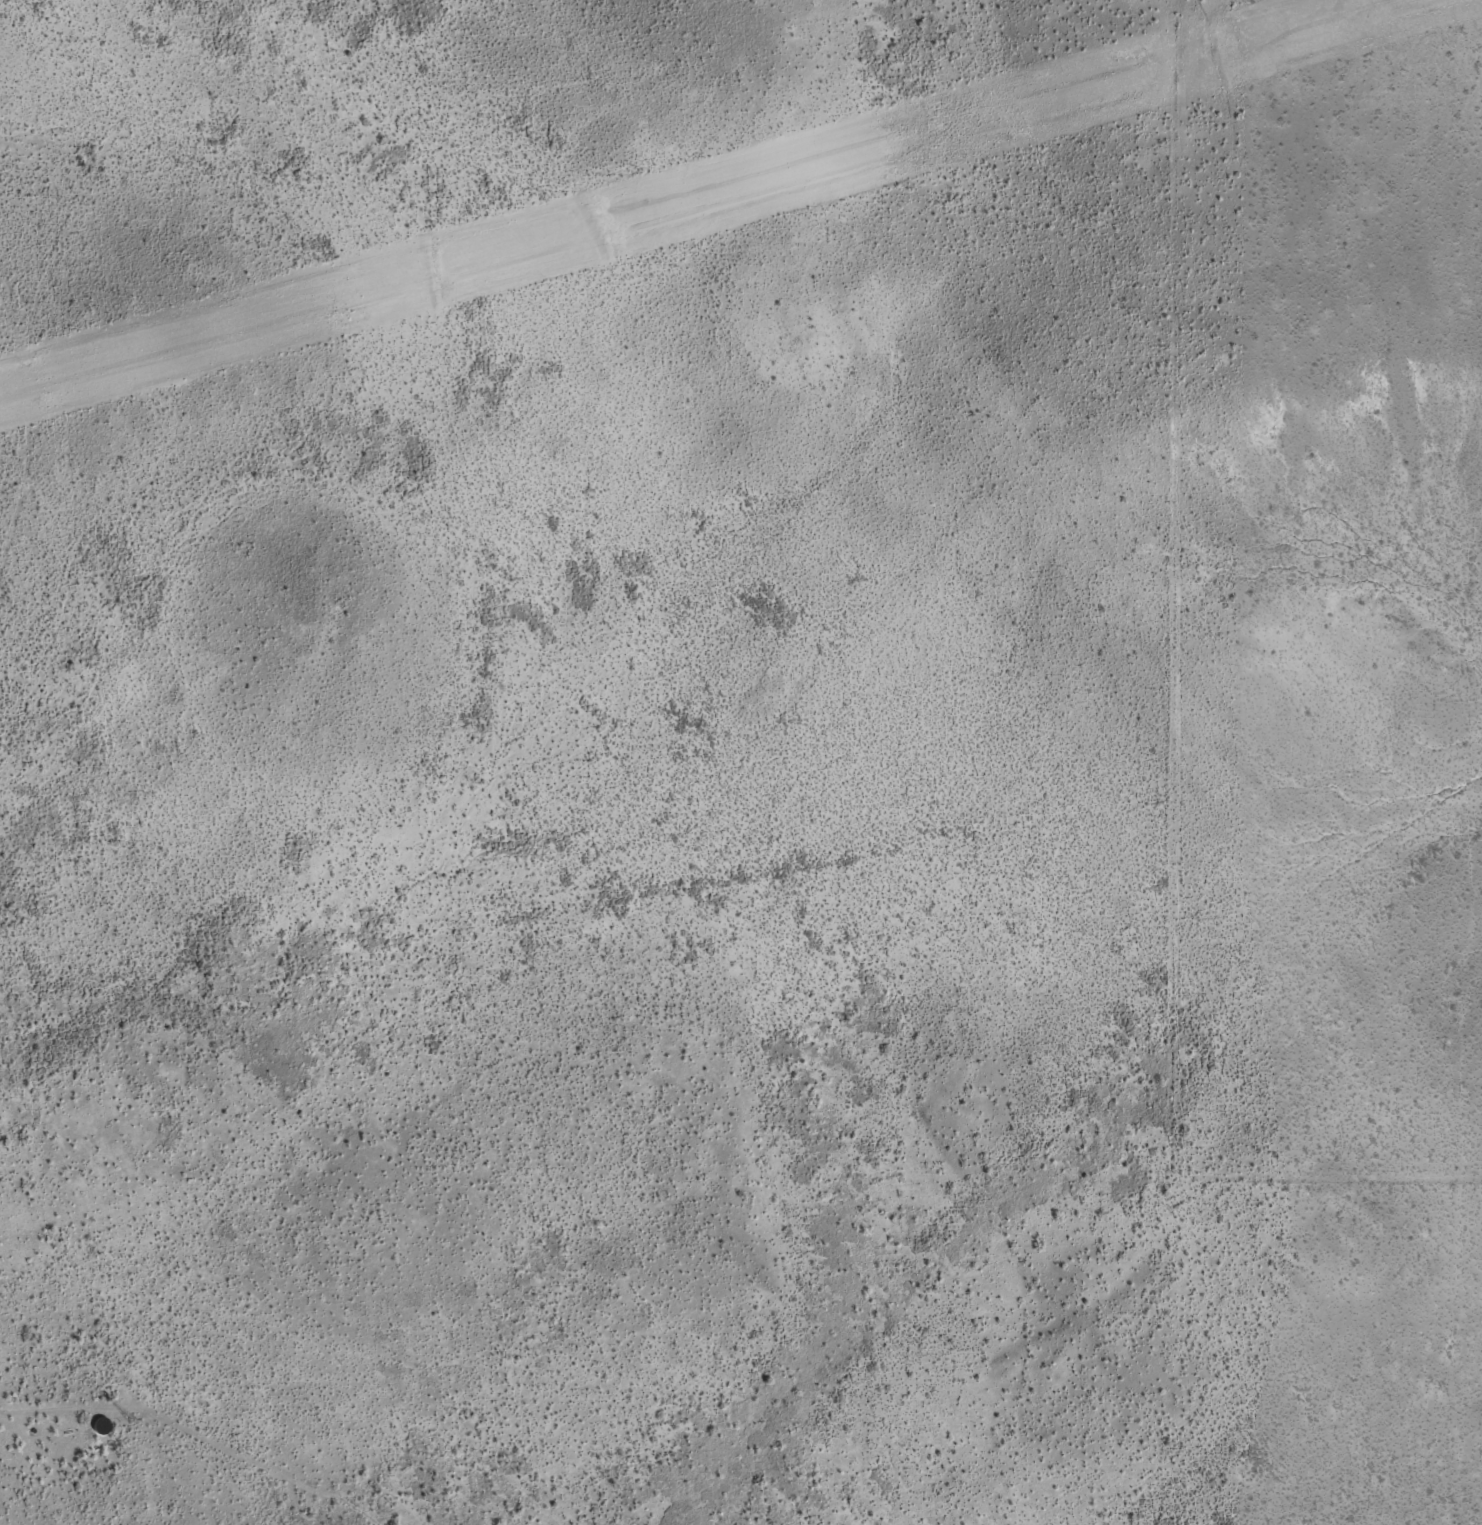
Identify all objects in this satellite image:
road: (80, 315)
road: (88, 1318)
road: (68, 1426)

